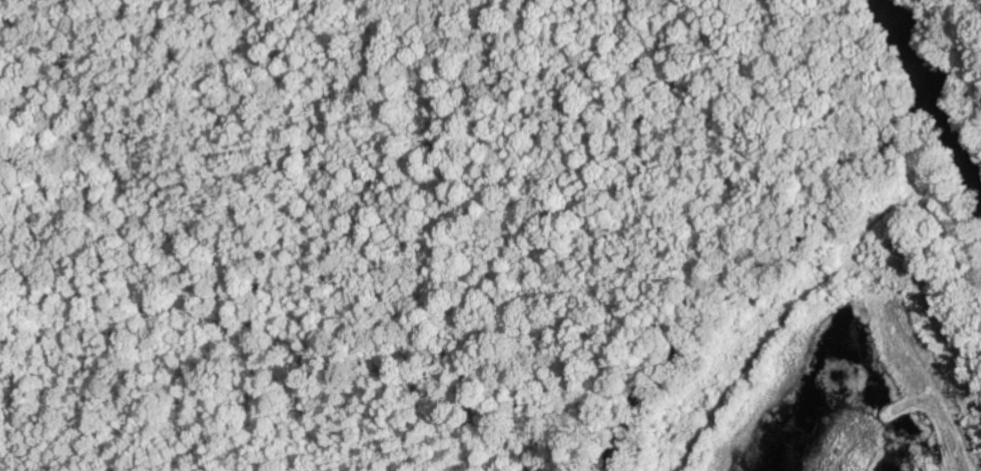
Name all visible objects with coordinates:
river: (935, 91)

